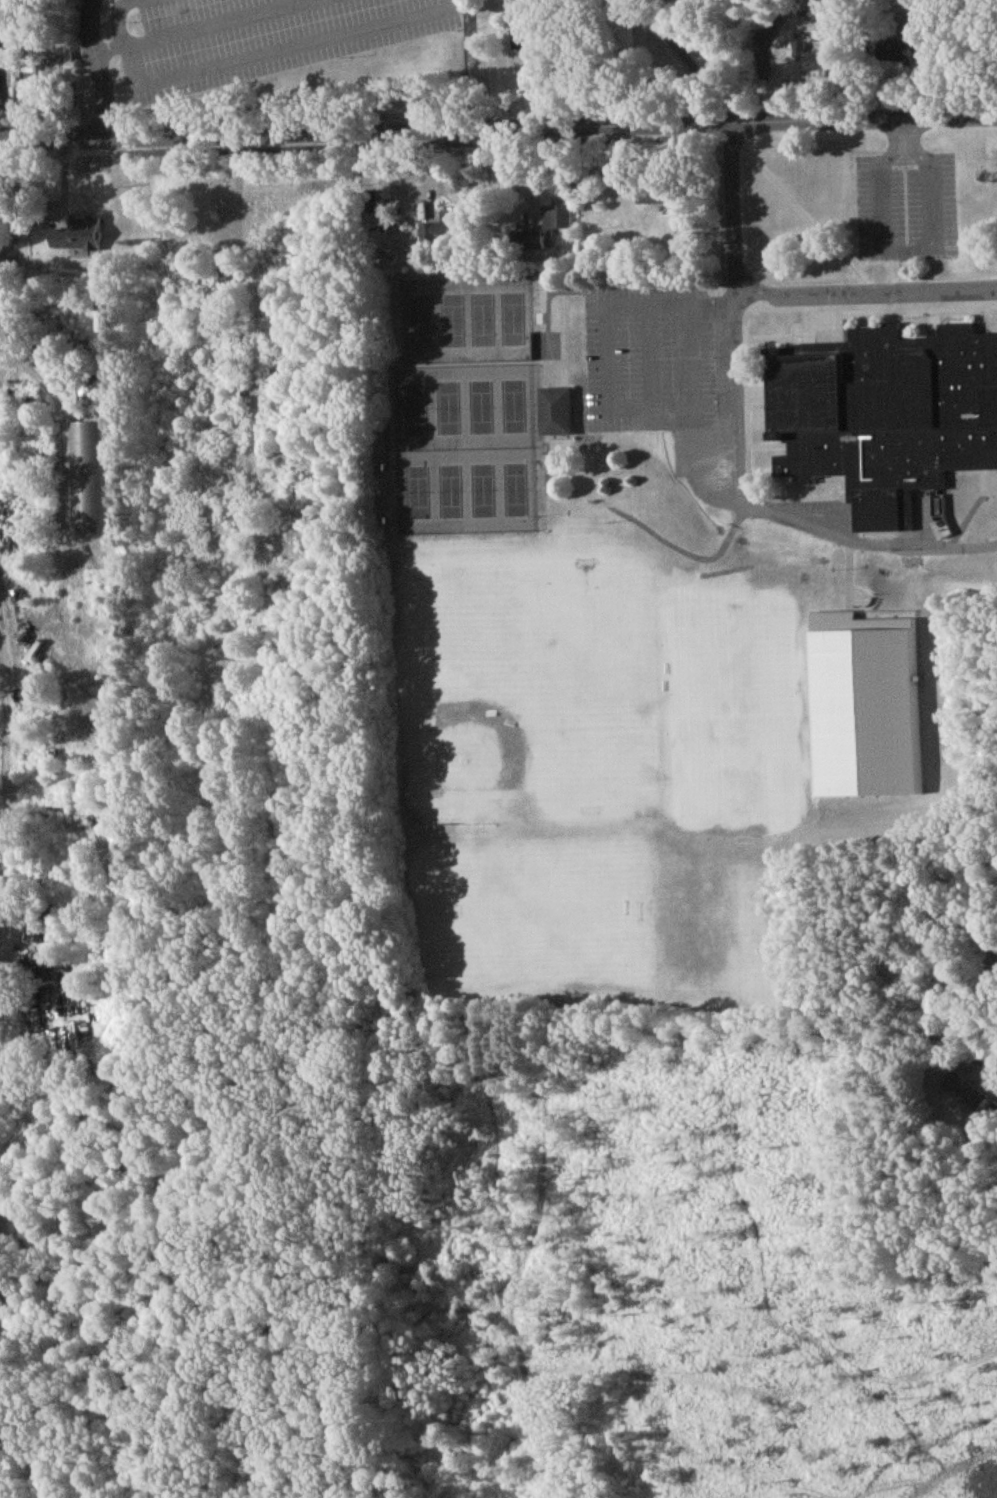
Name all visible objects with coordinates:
road: (120, 15)
road: (216, 29)
parking lot: (262, 40)
road: (282, 55)
building: (808, 62)
road: (98, 69)
road: (498, 130)
building: (654, 200)
parking lot: (906, 212)
building: (208, 213)
building: (554, 222)
building: (440, 232)
building: (76, 240)
road: (904, 254)
road: (5, 264)
building: (224, 277)
road: (785, 296)
road: (692, 360)
road: (649, 362)
road: (606, 363)
parking lot: (648, 363)
park: (462, 406)
building: (554, 416)
building: (885, 418)
building: (86, 450)
road: (750, 513)
park: (593, 694)
park: (784, 701)
road: (7, 750)
park: (466, 755)
park: (532, 915)
building: (965, 1097)

